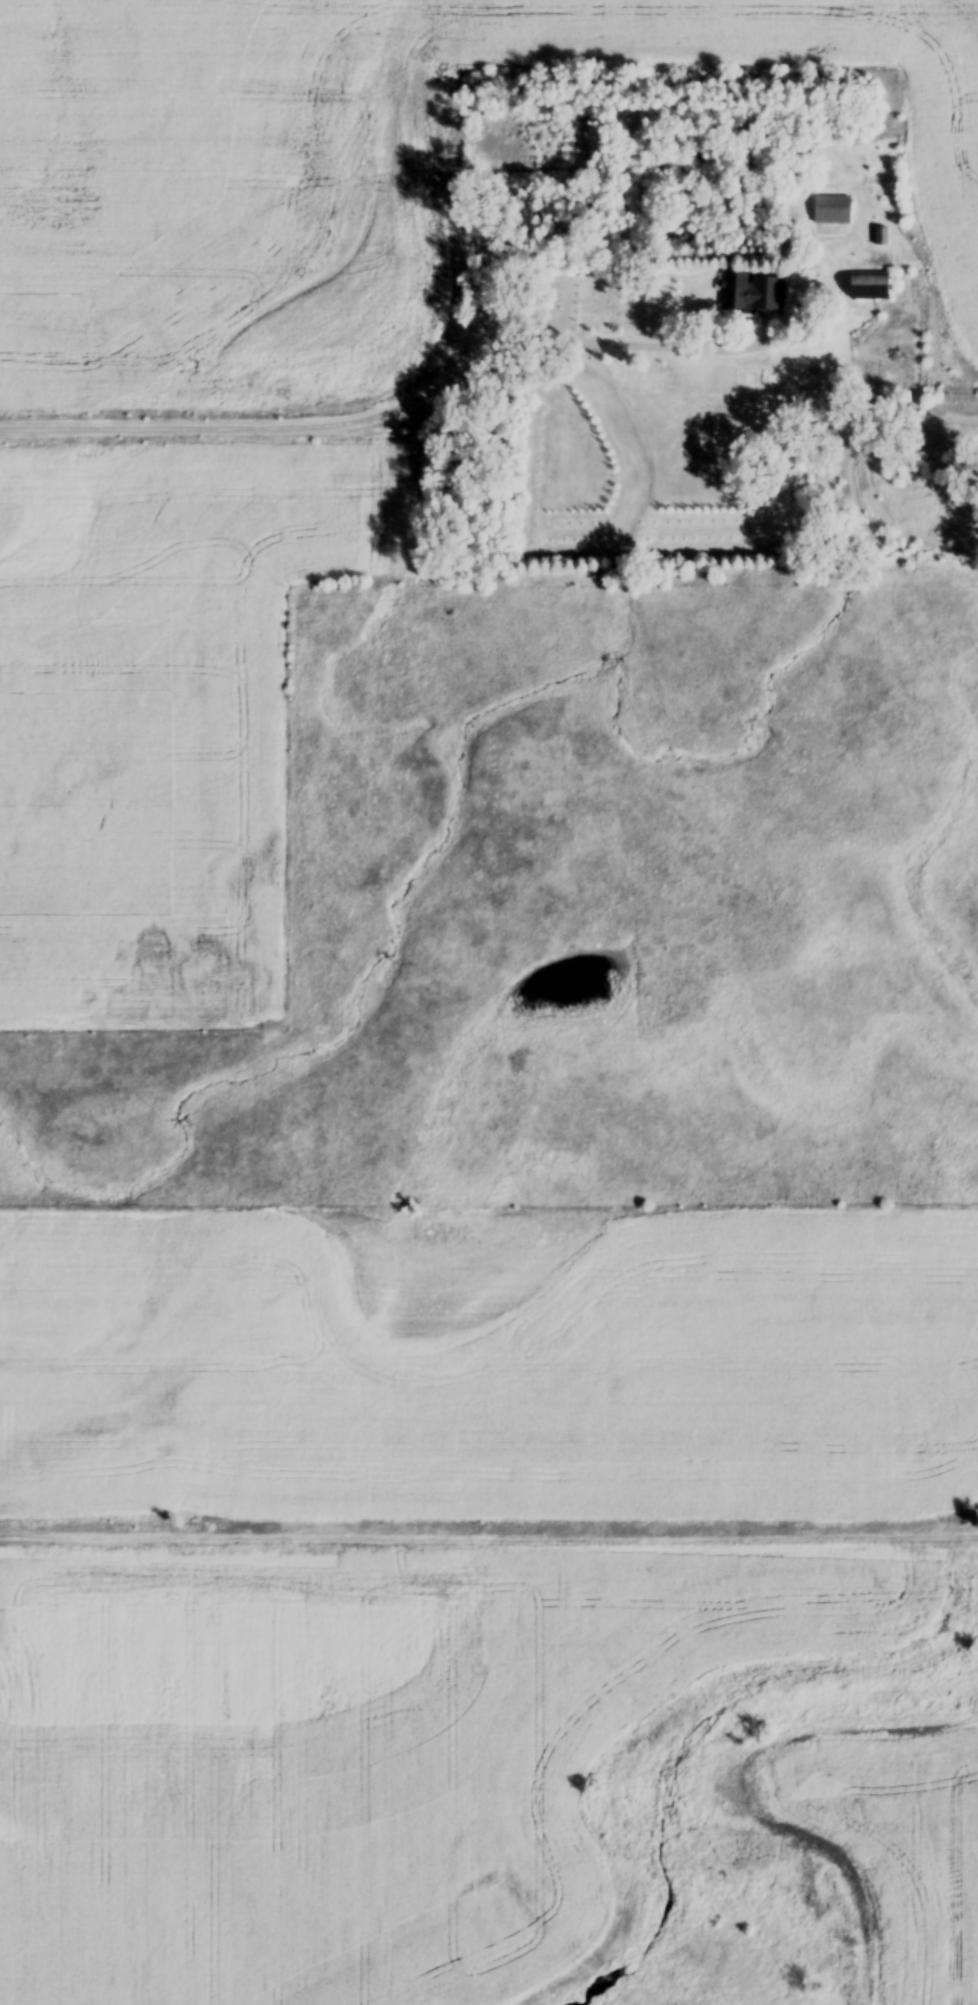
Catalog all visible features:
building: (832, 210)
building: (873, 286)
building: (753, 292)
road: (401, 403)
road: (488, 1537)

